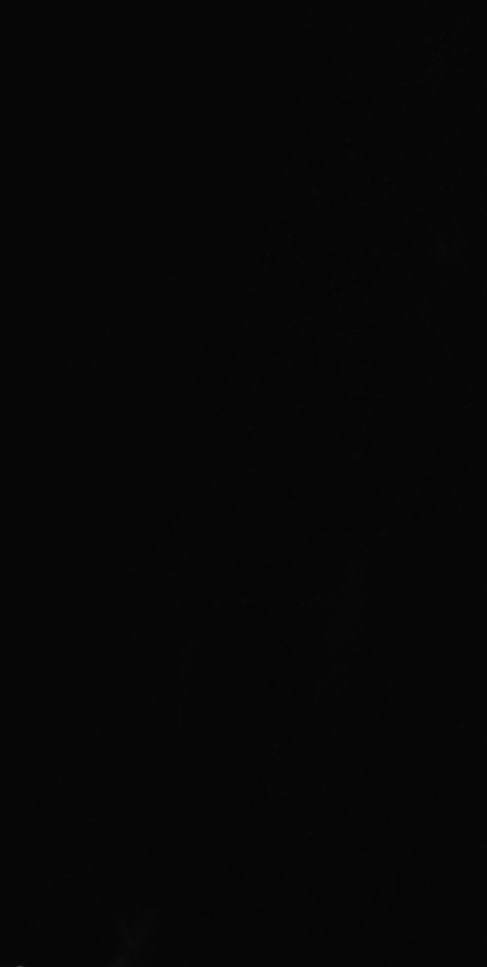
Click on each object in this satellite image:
river: (243, 52)
park: (243, 483)

